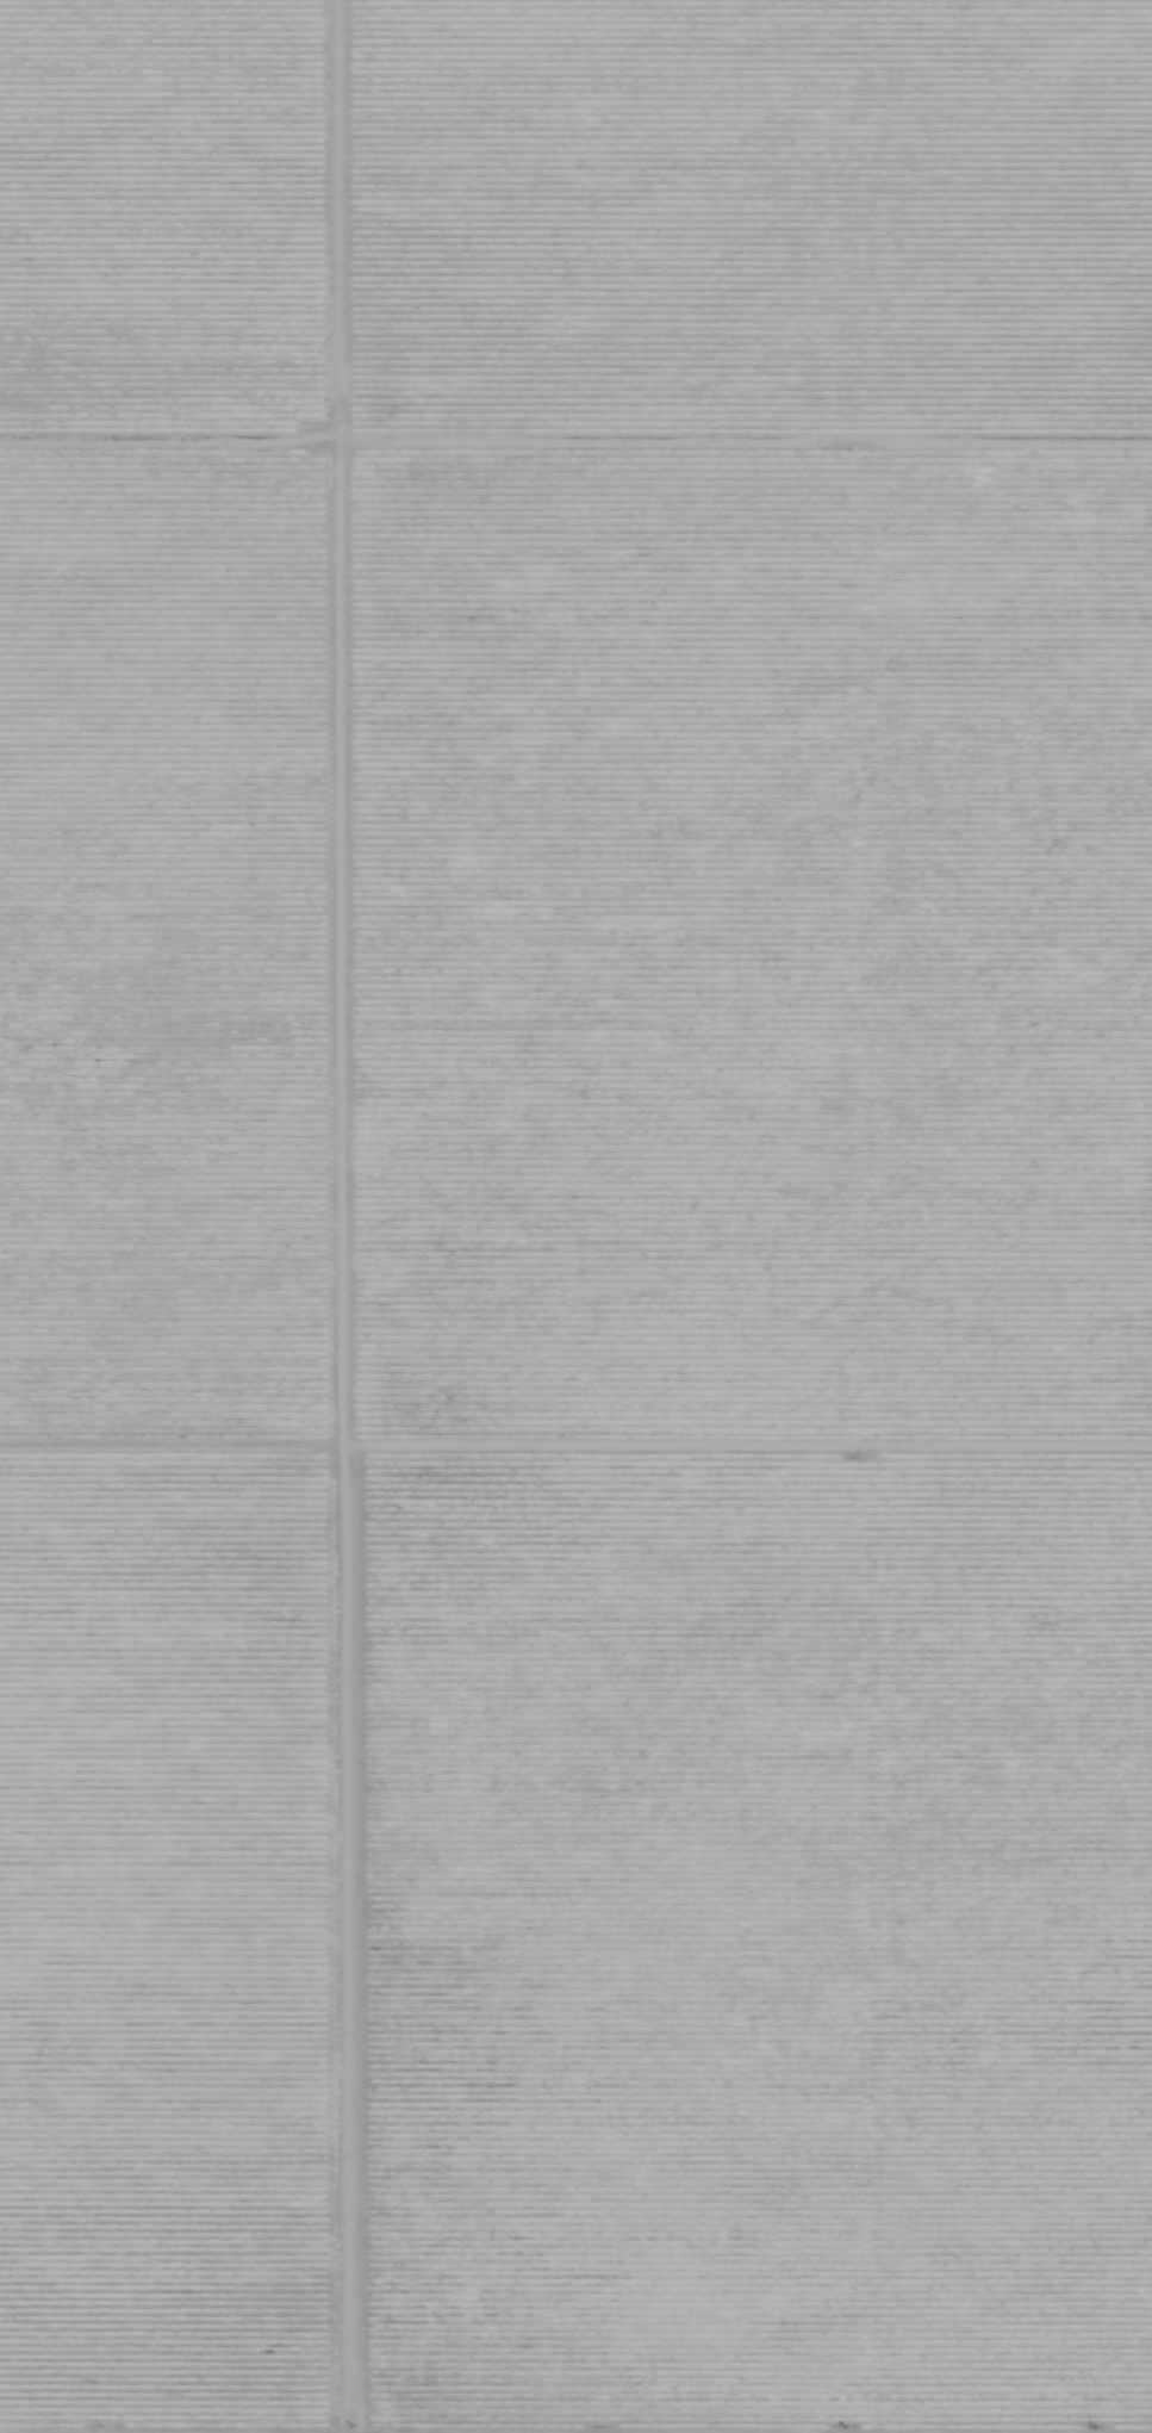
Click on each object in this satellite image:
road: (575, 440)

